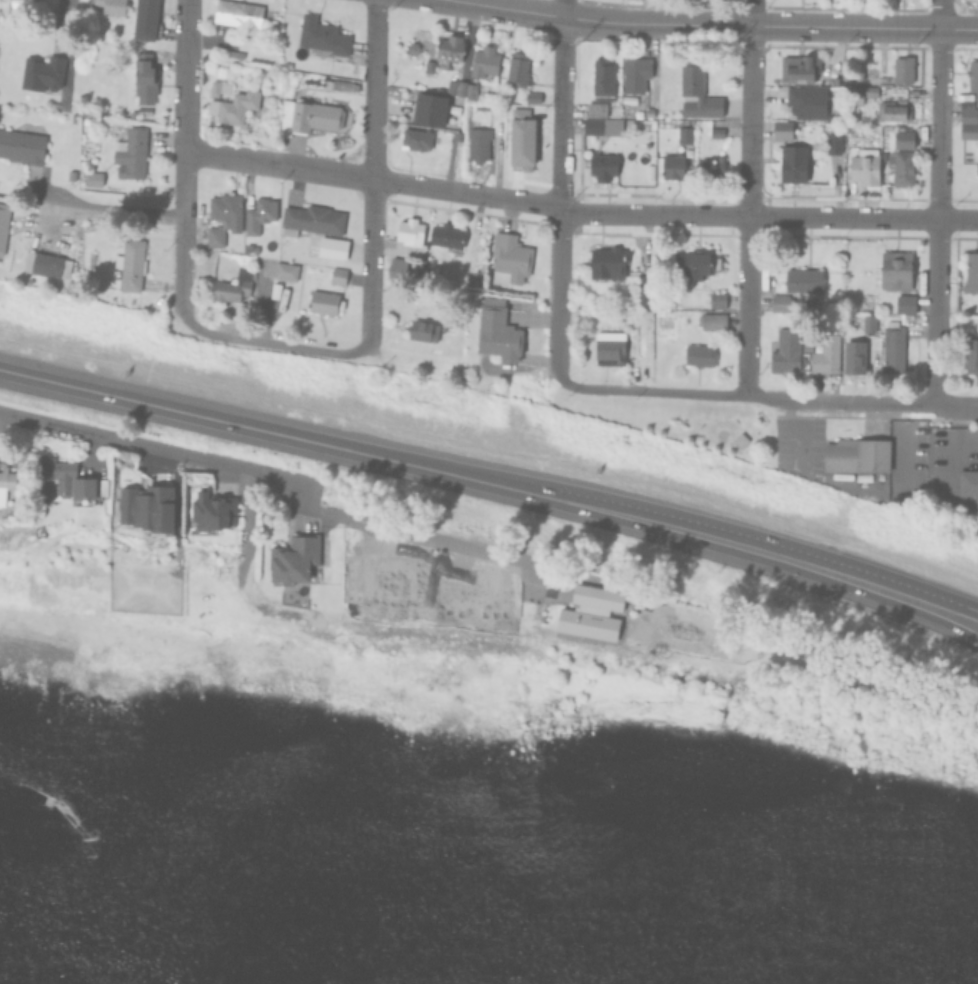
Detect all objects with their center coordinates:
building: (18, 7)
building: (114, 7)
building: (149, 14)
road: (939, 15)
building: (244, 18)
road: (592, 20)
road: (863, 29)
building: (147, 36)
building: (326, 42)
building: (414, 51)
building: (451, 52)
building: (235, 56)
building: (488, 66)
building: (430, 68)
building: (799, 68)
building: (904, 68)
building: (521, 70)
building: (44, 75)
building: (973, 75)
building: (639, 76)
building: (147, 80)
building: (459, 86)
building: (341, 87)
building: (221, 90)
building: (604, 91)
building: (476, 92)
building: (698, 92)
building: (862, 92)
building: (457, 93)
building: (535, 100)
building: (807, 101)
building: (967, 103)
building: (236, 109)
building: (893, 110)
building: (969, 114)
building: (96, 118)
building: (313, 119)
building: (529, 123)
road: (938, 125)
building: (604, 129)
building: (782, 129)
building: (969, 130)
building: (719, 132)
building: (685, 134)
building: (903, 136)
building: (417, 141)
building: (833, 143)
building: (480, 147)
building: (22, 148)
building: (528, 150)
road: (182, 154)
building: (133, 156)
building: (793, 163)
road: (277, 165)
building: (674, 166)
building: (712, 166)
building: (902, 166)
building: (977, 167)
building: (864, 168)
building: (604, 169)
road: (371, 171)
building: (96, 181)
road: (559, 185)
road: (465, 194)
road: (747, 197)
road: (106, 208)
building: (260, 217)
building: (226, 219)
road: (768, 219)
building: (314, 222)
building: (4, 227)
building: (412, 240)
building: (449, 240)
building: (252, 251)
building: (335, 251)
building: (511, 261)
building: (699, 264)
building: (610, 265)
building: (133, 267)
building: (399, 269)
building: (428, 269)
building: (896, 269)
building: (50, 270)
building: (288, 273)
building: (971, 273)
building: (340, 278)
building: (803, 279)
building: (473, 282)
building: (472, 286)
building: (234, 288)
building: (648, 291)
building: (717, 299)
building: (781, 302)
building: (906, 302)
building: (327, 304)
road: (936, 312)
building: (648, 315)
building: (712, 320)
building: (870, 322)
road: (269, 345)
road: (646, 392)
road: (862, 402)
park: (682, 421)
building: (739, 440)
road: (139, 443)
road: (492, 485)
road: (393, 528)

